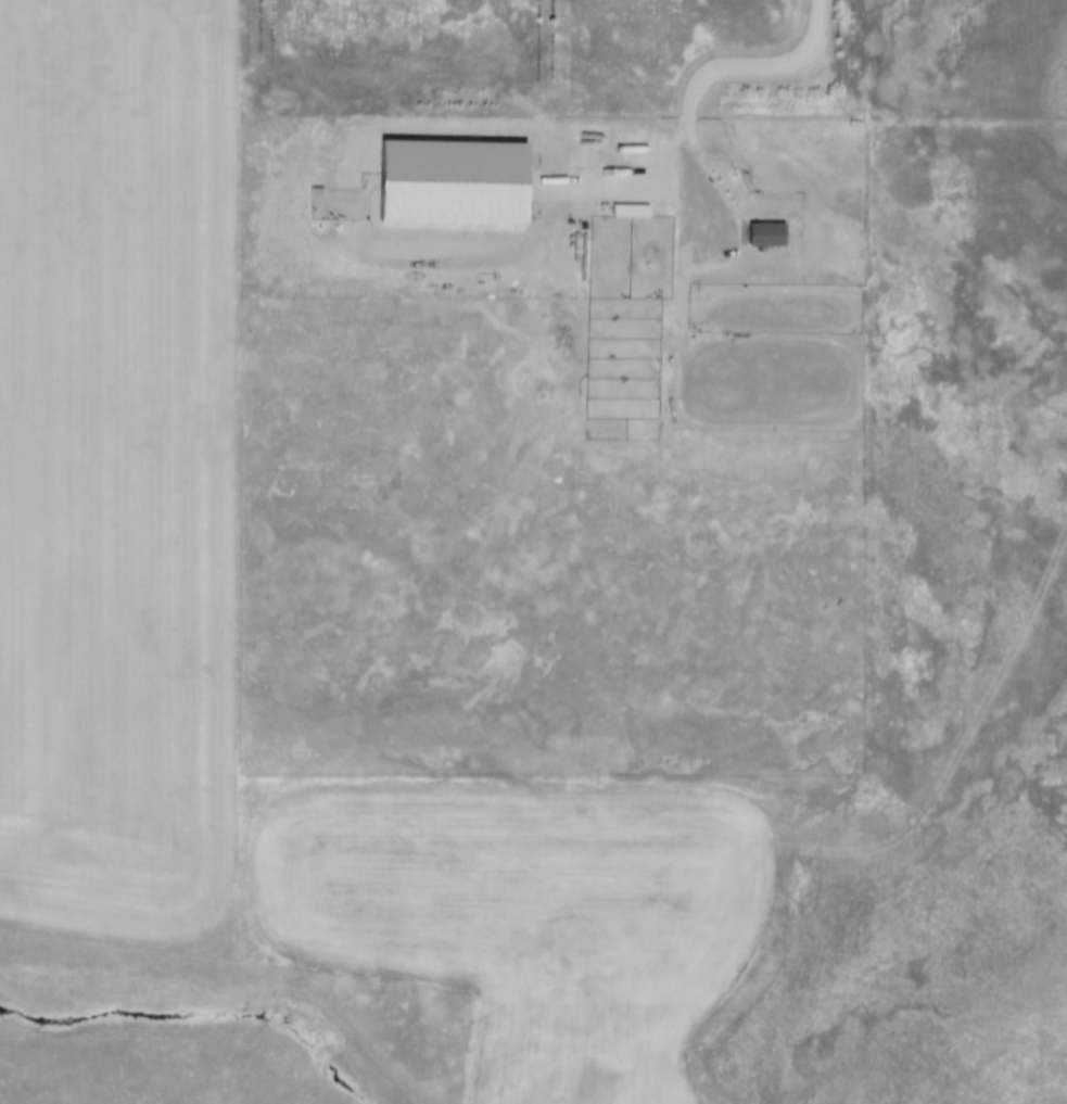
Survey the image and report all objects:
road: (700, 71)

